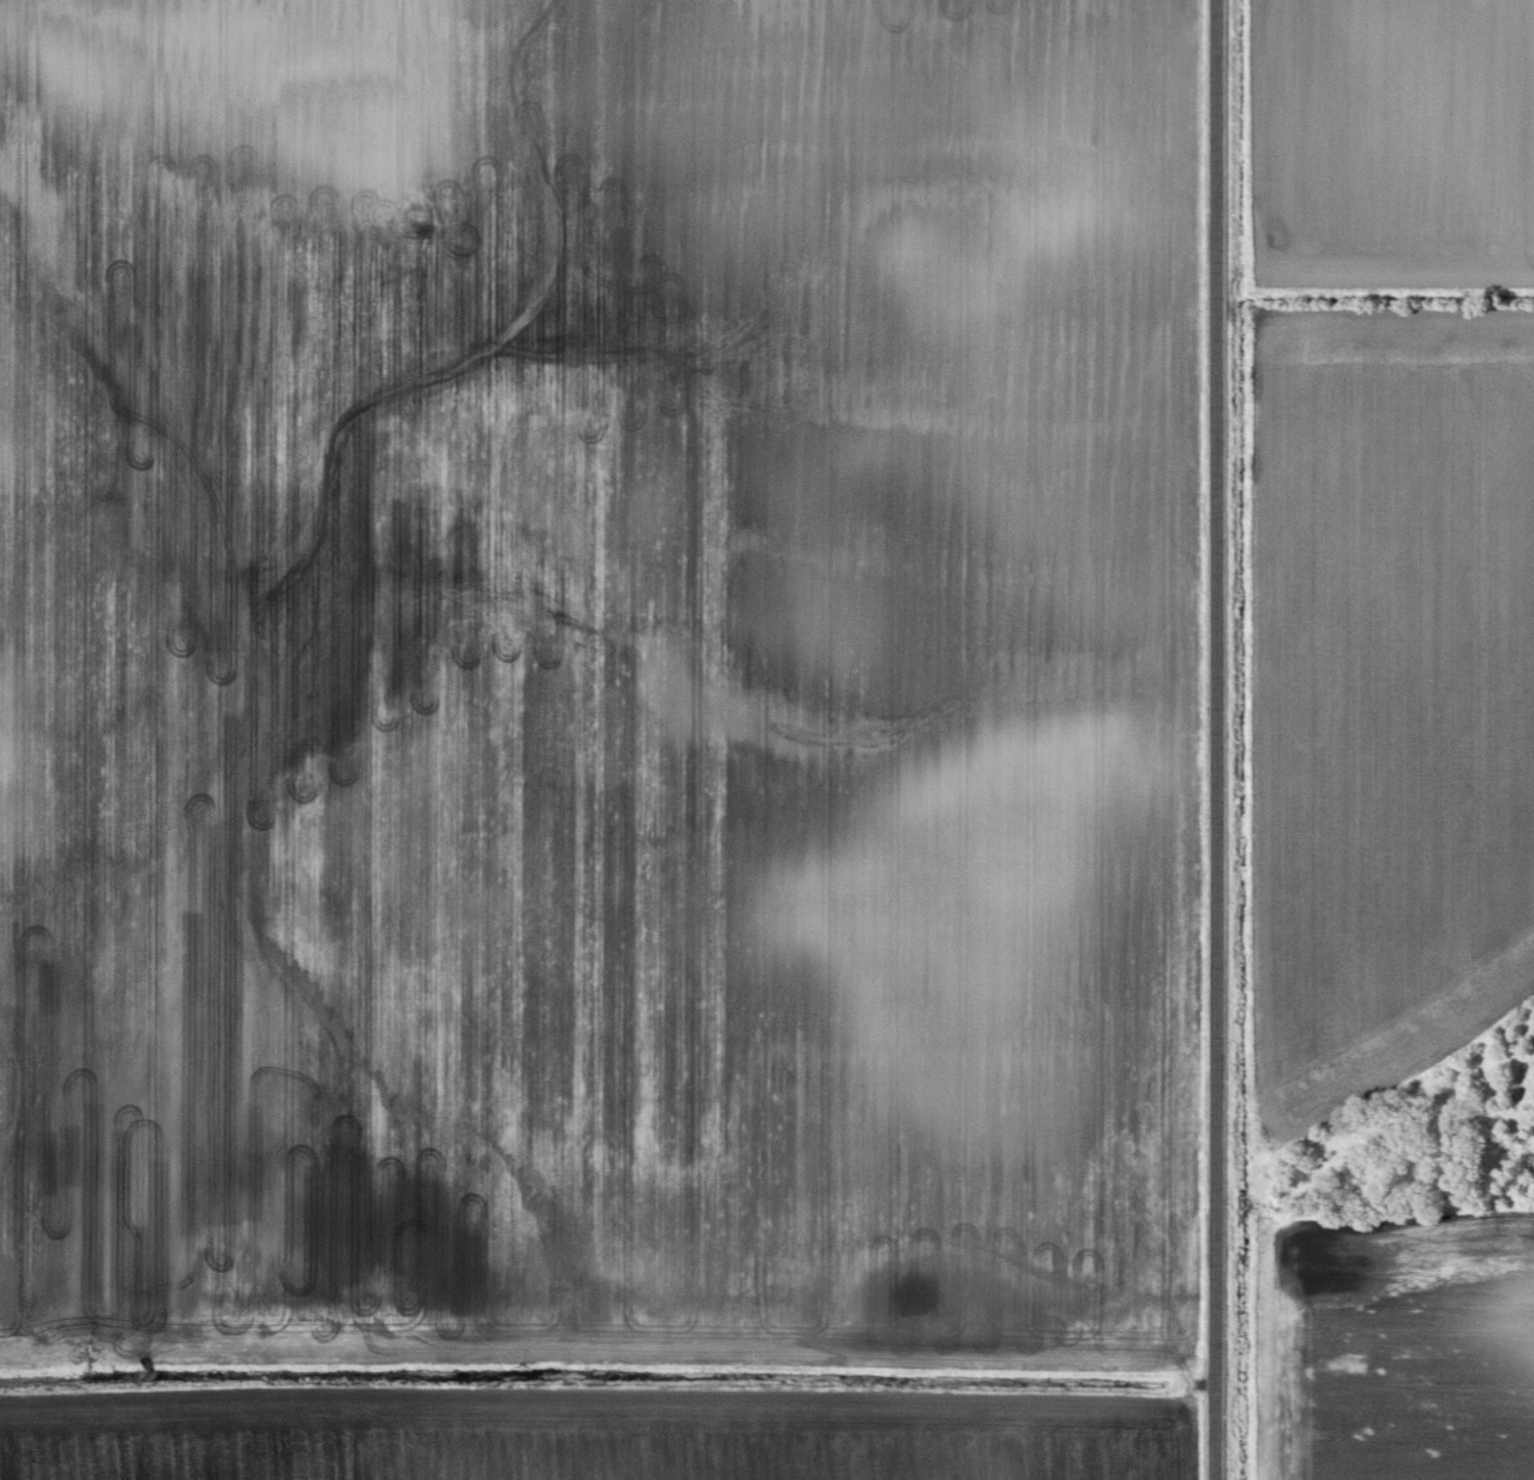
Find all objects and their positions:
road: (1218, 740)

